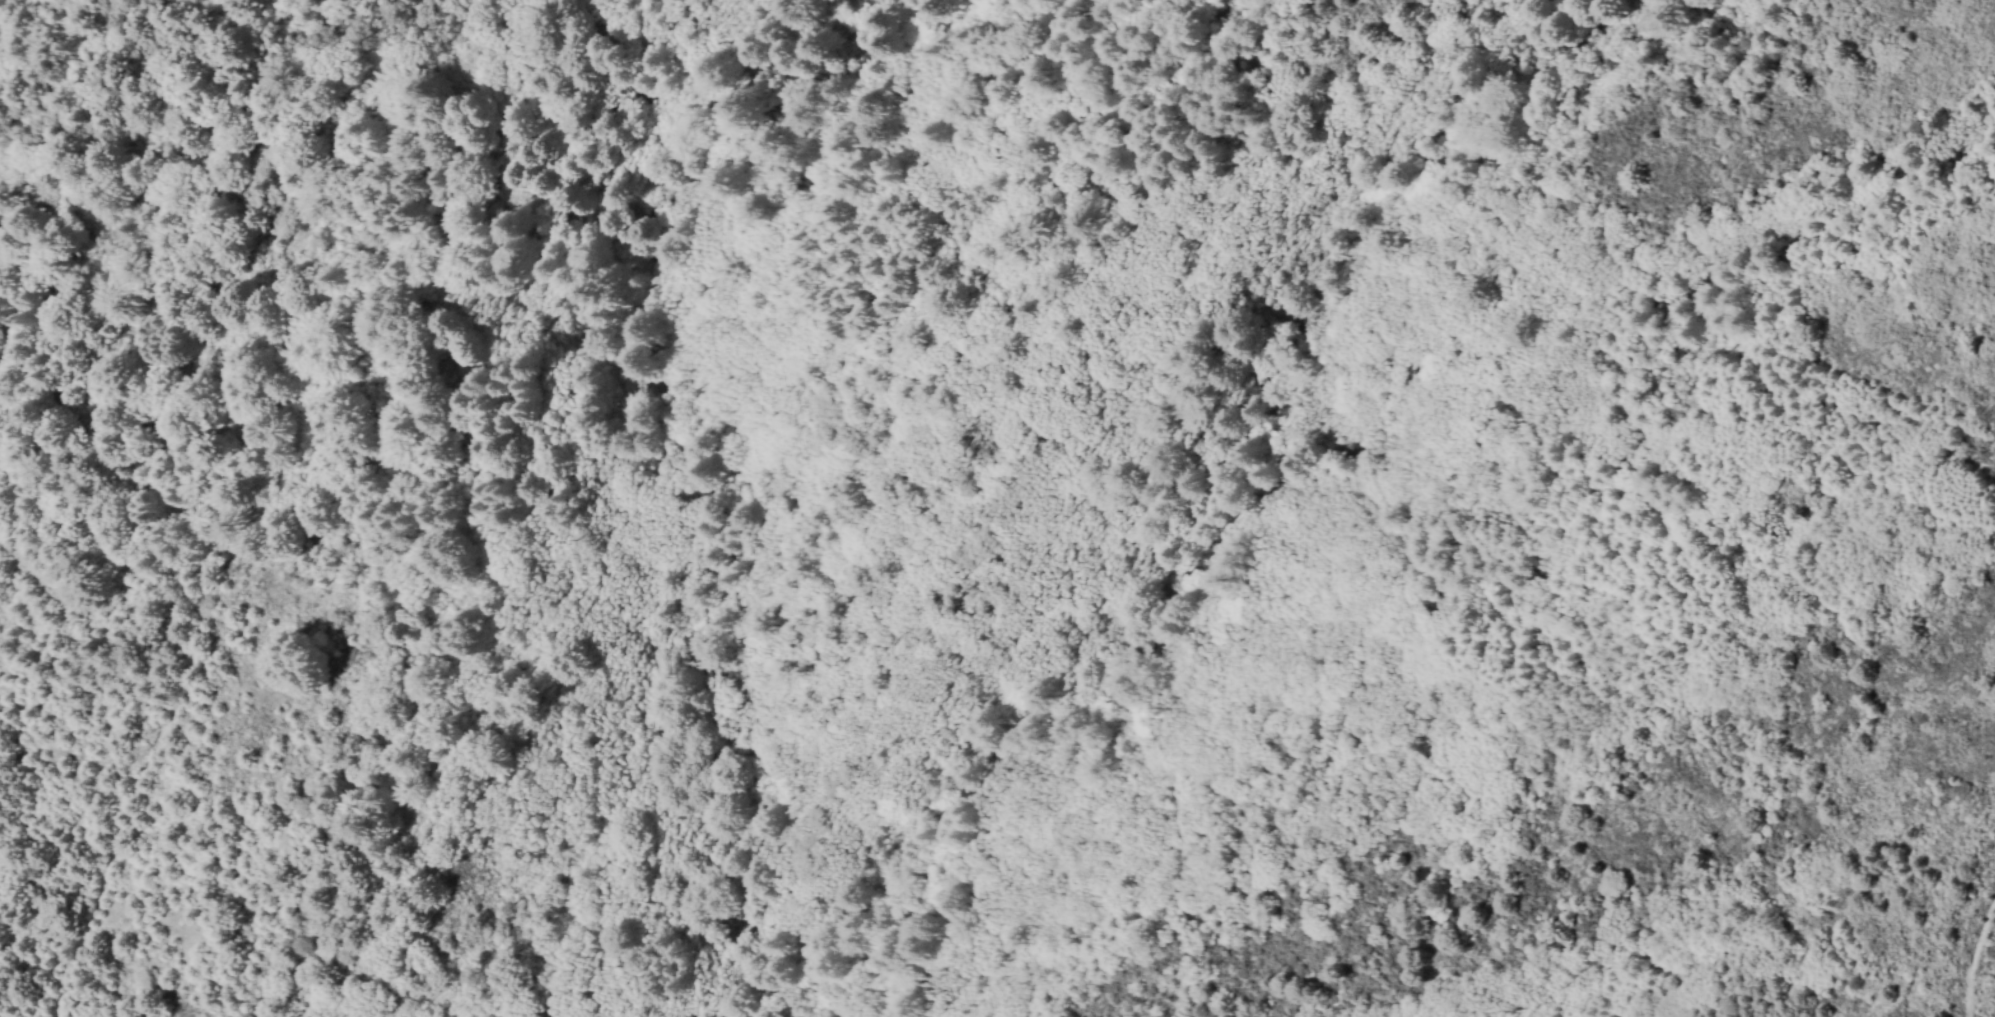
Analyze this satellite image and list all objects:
road: (1976, 962)

